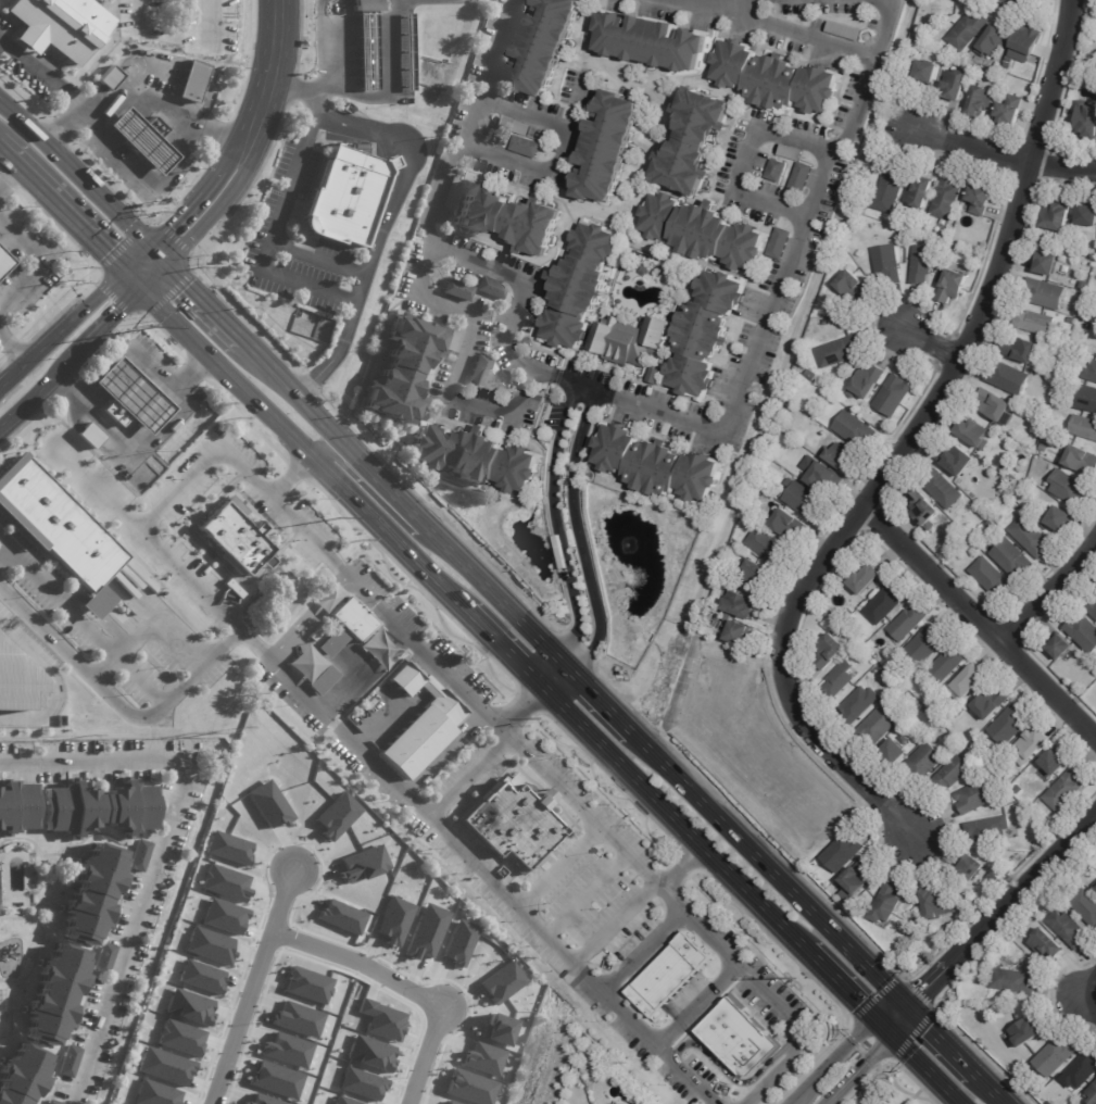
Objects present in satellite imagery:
building: (114, 0)
building: (345, 0)
building: (601, 0)
road: (139, 14)
road: (213, 21)
building: (63, 24)
building: (969, 29)
building: (844, 30)
road: (799, 33)
building: (922, 38)
building: (298, 41)
building: (653, 41)
building: (994, 41)
building: (368, 42)
building: (1026, 43)
building: (545, 46)
building: (408, 51)
road: (332, 54)
road: (274, 55)
building: (1009, 60)
road: (25, 62)
building: (1007, 65)
building: (929, 71)
building: (112, 78)
building: (776, 79)
building: (193, 81)
building: (1094, 81)
building: (957, 84)
road: (392, 86)
road: (289, 87)
road: (136, 91)
building: (981, 101)
building: (1010, 110)
building: (1086, 121)
road: (549, 123)
road: (473, 126)
building: (514, 126)
road: (240, 138)
building: (143, 139)
gas station: (143, 139)
building: (695, 140)
building: (527, 147)
building: (608, 148)
building: (791, 152)
road: (746, 158)
road: (1004, 158)
road: (12, 160)
road: (406, 165)
road: (7, 170)
building: (777, 170)
road: (536, 171)
building: (803, 177)
road: (138, 184)
road: (83, 185)
building: (454, 191)
building: (891, 191)
building: (920, 195)
building: (349, 196)
road: (229, 197)
building: (947, 198)
building: (982, 199)
road: (185, 206)
building: (855, 209)
road: (805, 215)
building: (1058, 215)
building: (1087, 216)
building: (509, 217)
road: (74, 219)
traffic signals: (169, 224)
building: (703, 231)
building: (781, 243)
traffic signals: (108, 252)
road: (305, 253)
road: (136, 256)
road: (39, 262)
building: (4, 263)
building: (889, 264)
building: (922, 264)
building: (1048, 264)
road: (154, 275)
road: (134, 276)
building: (1085, 285)
building: (581, 286)
traffic signals: (187, 287)
building: (855, 287)
building: (953, 287)
building: (493, 288)
building: (457, 290)
road: (520, 293)
building: (1046, 293)
road: (201, 300)
traffic signals: (116, 313)
road: (109, 319)
building: (1071, 321)
building: (827, 323)
building: (1036, 323)
road: (61, 327)
power tower: (155, 328)
building: (704, 333)
building: (454, 340)
building: (632, 341)
road: (930, 342)
road: (124, 347)
building: (1023, 350)
road: (12, 351)
building: (840, 351)
road: (462, 363)
building: (404, 369)
building: (479, 371)
building: (1091, 372)
building: (811, 375)
building: (655, 377)
building: (1008, 378)
building: (868, 382)
road: (579, 386)
road: (37, 390)
building: (894, 396)
building: (130, 398)
building: (1088, 399)
building: (996, 405)
road: (664, 416)
building: (1084, 427)
building: (856, 430)
building: (974, 434)
road: (135, 435)
building: (1045, 435)
building: (91, 436)
road: (336, 436)
building: (795, 446)
road: (907, 446)
building: (1043, 447)
road: (304, 448)
building: (842, 457)
building: (477, 460)
building: (1081, 460)
building: (958, 461)
building: (653, 465)
road: (242, 469)
road: (289, 474)
building: (822, 476)
building: (1012, 478)
building: (1069, 487)
building: (943, 488)
road: (368, 493)
building: (804, 501)
building: (924, 510)
building: (998, 517)
power tower: (340, 518)
building: (1061, 519)
road: (558, 524)
building: (790, 525)
building: (991, 525)
building: (59, 530)
building: (236, 536)
road: (169, 537)
road: (579, 537)
building: (1031, 538)
road: (197, 543)
building: (768, 547)
road: (3, 550)
building: (1012, 560)
building: (759, 575)
building: (992, 578)
building: (867, 580)
road: (1050, 597)
road: (499, 599)
building: (885, 605)
building: (1091, 605)
building: (742, 606)
building: (849, 613)
road: (81, 622)
road: (144, 624)
building: (908, 624)
building: (348, 627)
road: (977, 631)
building: (1084, 633)
building: (740, 635)
road: (503, 645)
building: (923, 648)
building: (1062, 648)
building: (828, 652)
road: (214, 653)
building: (949, 664)
road: (552, 670)
road: (448, 678)
building: (324, 680)
building: (840, 681)
building: (970, 681)
building: (16, 682)
road: (48, 685)
road: (600, 695)
building: (916, 703)
building: (992, 703)
building: (859, 705)
power tower: (542, 720)
building: (421, 724)
building: (878, 726)
building: (1010, 726)
building: (1032, 748)
building: (896, 753)
building: (987, 762)
building: (923, 764)
building: (1055, 764)
building: (952, 775)
road: (465, 777)
building: (1007, 778)
building: (1018, 790)
building: (1066, 791)
building: (977, 798)
building: (16, 807)
building: (1019, 808)
building: (101, 810)
building: (1036, 811)
road: (583, 813)
road: (673, 815)
building: (513, 823)
building: (988, 830)
building: (228, 848)
road: (159, 851)
building: (844, 854)
building: (140, 856)
road: (473, 864)
road: (556, 866)
road: (770, 869)
building: (974, 871)
road: (669, 873)
building: (857, 880)
building: (225, 883)
building: (1095, 887)
building: (93, 895)
road: (587, 895)
building: (887, 904)
building: (935, 906)
building: (1085, 906)
road: (1000, 913)
building: (224, 917)
road: (615, 924)
building: (1068, 929)
building: (209, 946)
building: (1047, 946)
building: (104, 959)
road: (730, 962)
building: (672, 974)
building: (201, 977)
power tower: (797, 978)
building: (1015, 982)
building: (306, 986)
road: (252, 987)
road: (403, 987)
road: (846, 987)
traffic signals: (924, 989)
building: (55, 995)
traffic signals: (860, 1001)
road: (693, 1004)
road: (1081, 1004)
building: (189, 1007)
road: (895, 1016)
traffic signals: (929, 1029)
building: (1028, 1033)
building: (180, 1038)
building: (738, 1038)
road: (941, 1040)
traffic signals: (872, 1054)
road: (831, 1057)
building: (1056, 1058)
building: (70, 1063)
road: (924, 1065)
building: (164, 1066)
road: (858, 1067)
building: (1082, 1072)
building: (23, 1077)
road: (992, 1089)
building: (155, 1094)
building: (1092, 1094)
building: (276, 1102)
building: (50, 1103)
building: (612, 1103)
building: (1048, 1103)

